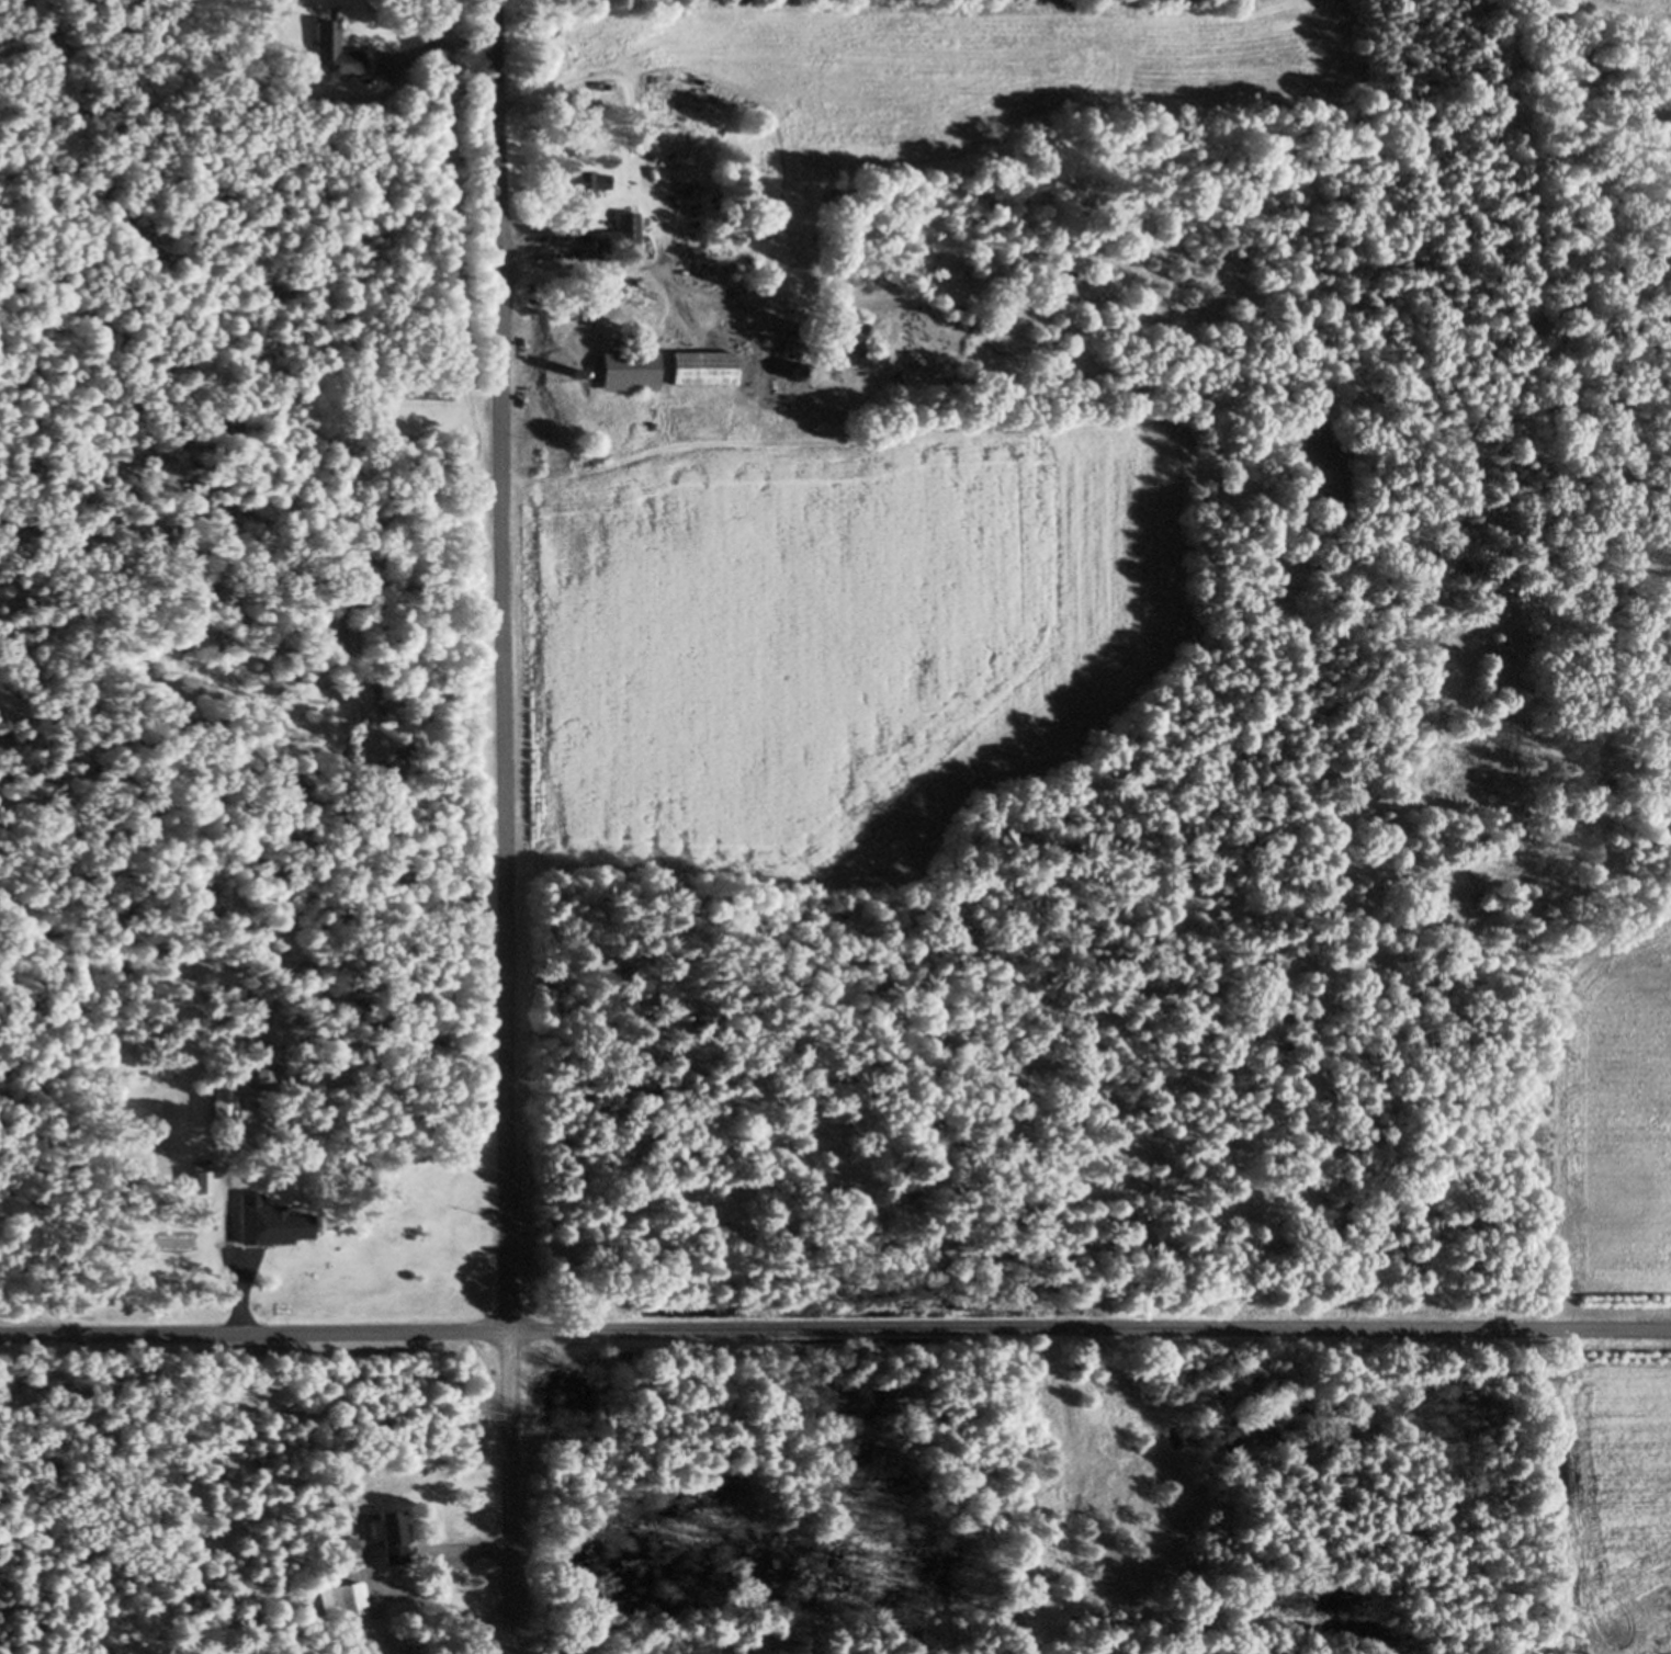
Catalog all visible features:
building: (330, 52)
building: (579, 183)
building: (616, 238)
building: (695, 369)
building: (622, 372)
building: (790, 374)
road: (505, 826)
building: (261, 1078)
building: (217, 1111)
building: (196, 1181)
building: (268, 1226)
road: (835, 1329)
building: (383, 1539)
building: (340, 1552)
building: (338, 1602)
building: (413, 1651)

